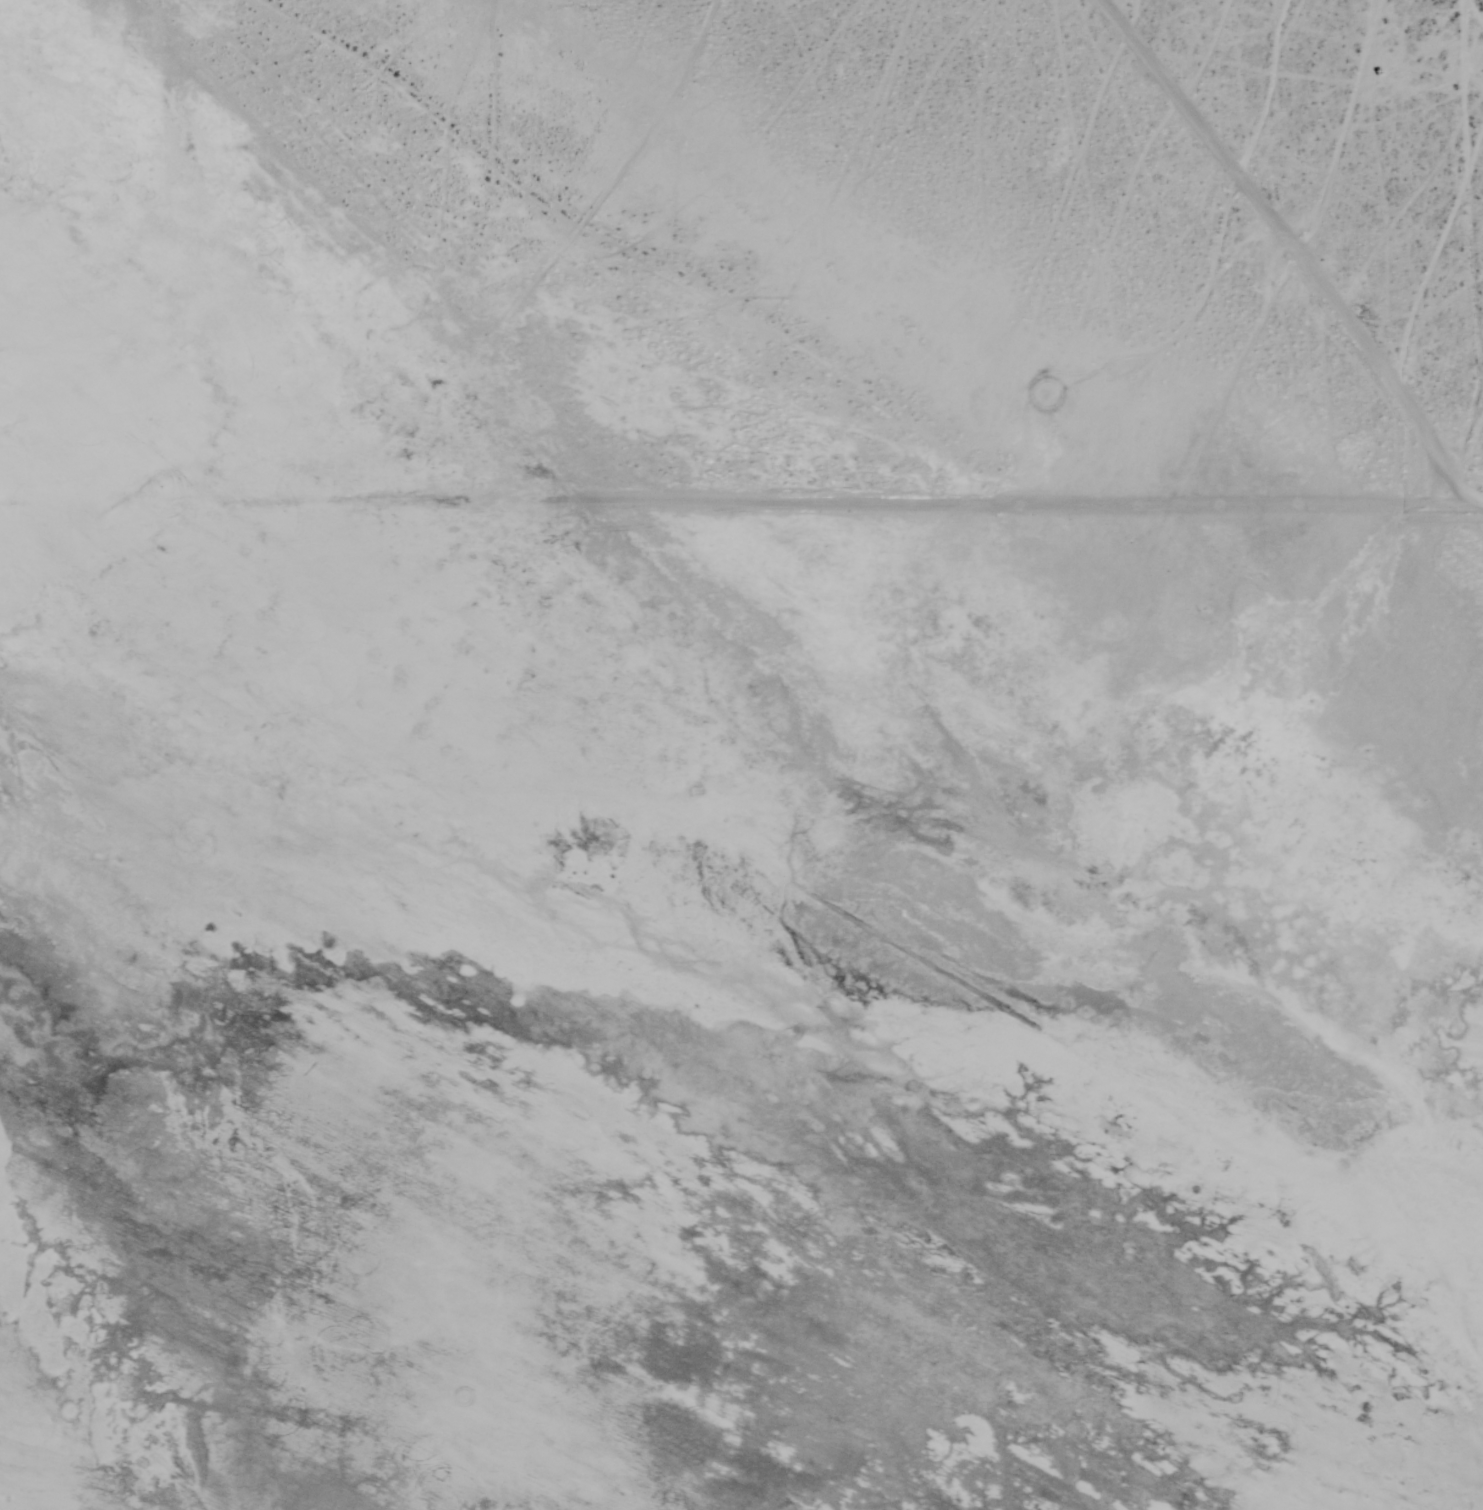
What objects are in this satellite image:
road: (1295, 245)
road: (1478, 501)
road: (669, 1245)

